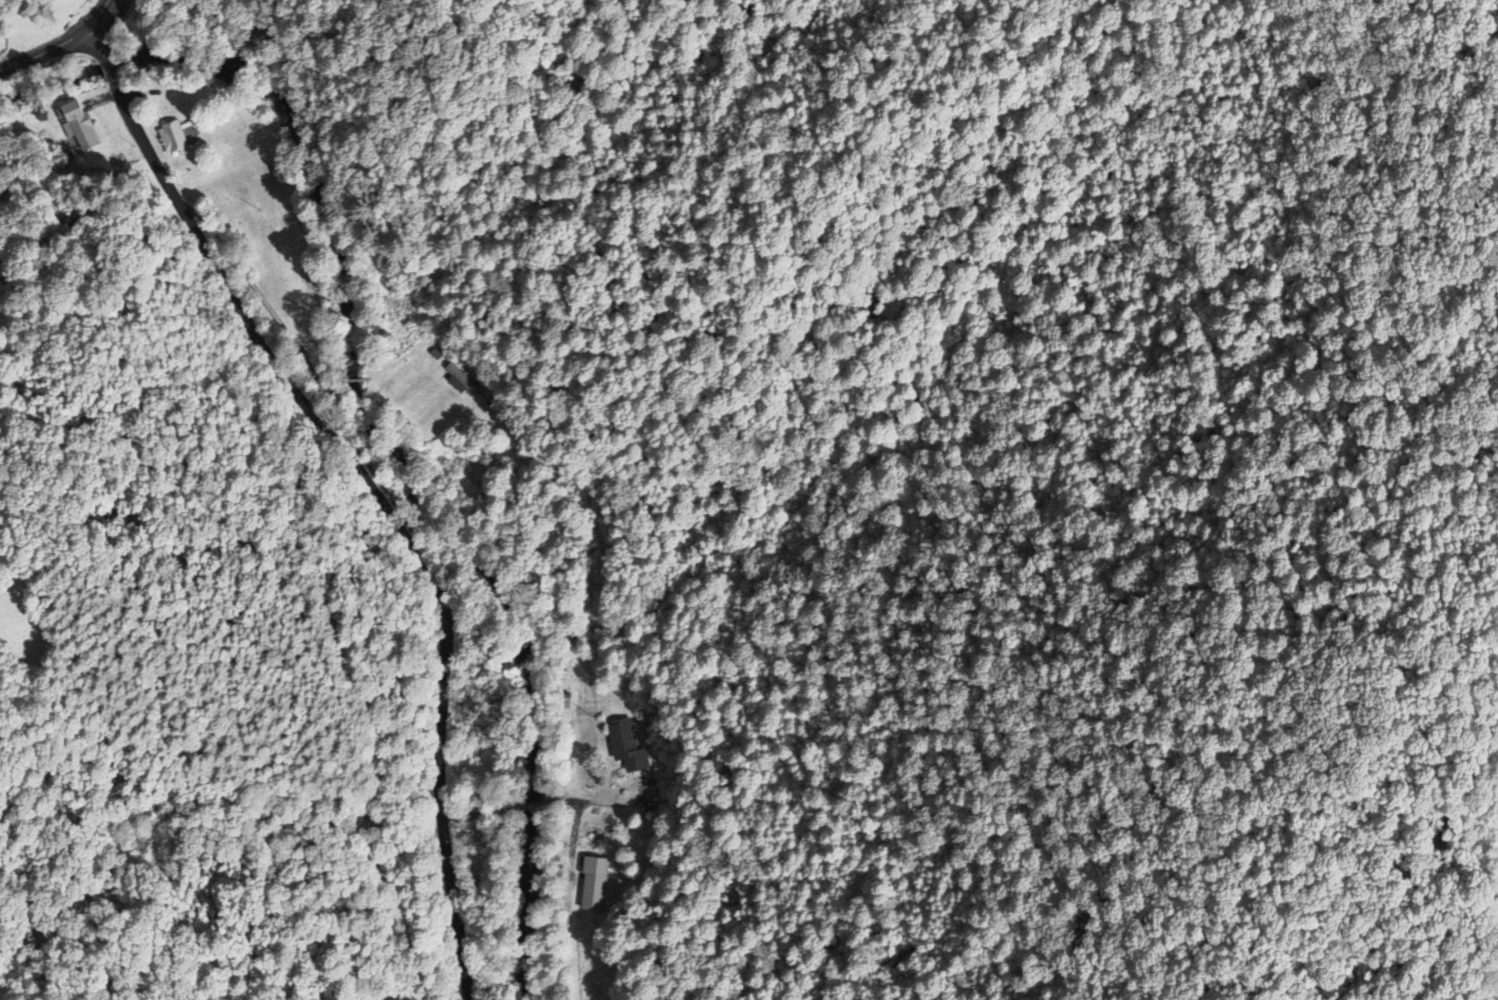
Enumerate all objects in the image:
road: (101, 13)
road: (97, 41)
road: (47, 53)
road: (109, 68)
road: (382, 510)
road: (331, 626)
road: (535, 804)
road: (609, 805)
road: (478, 815)

